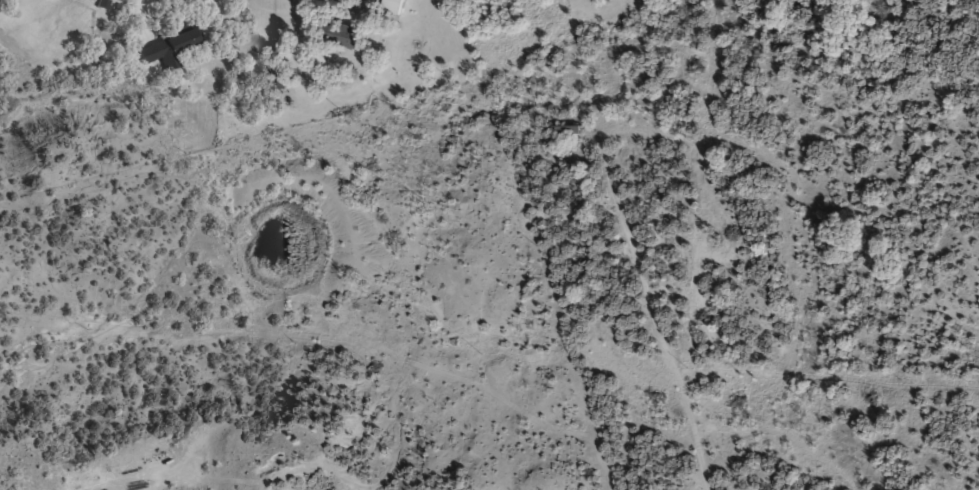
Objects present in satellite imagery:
building: (394, 11)
building: (345, 43)
building: (169, 55)
building: (562, 137)

